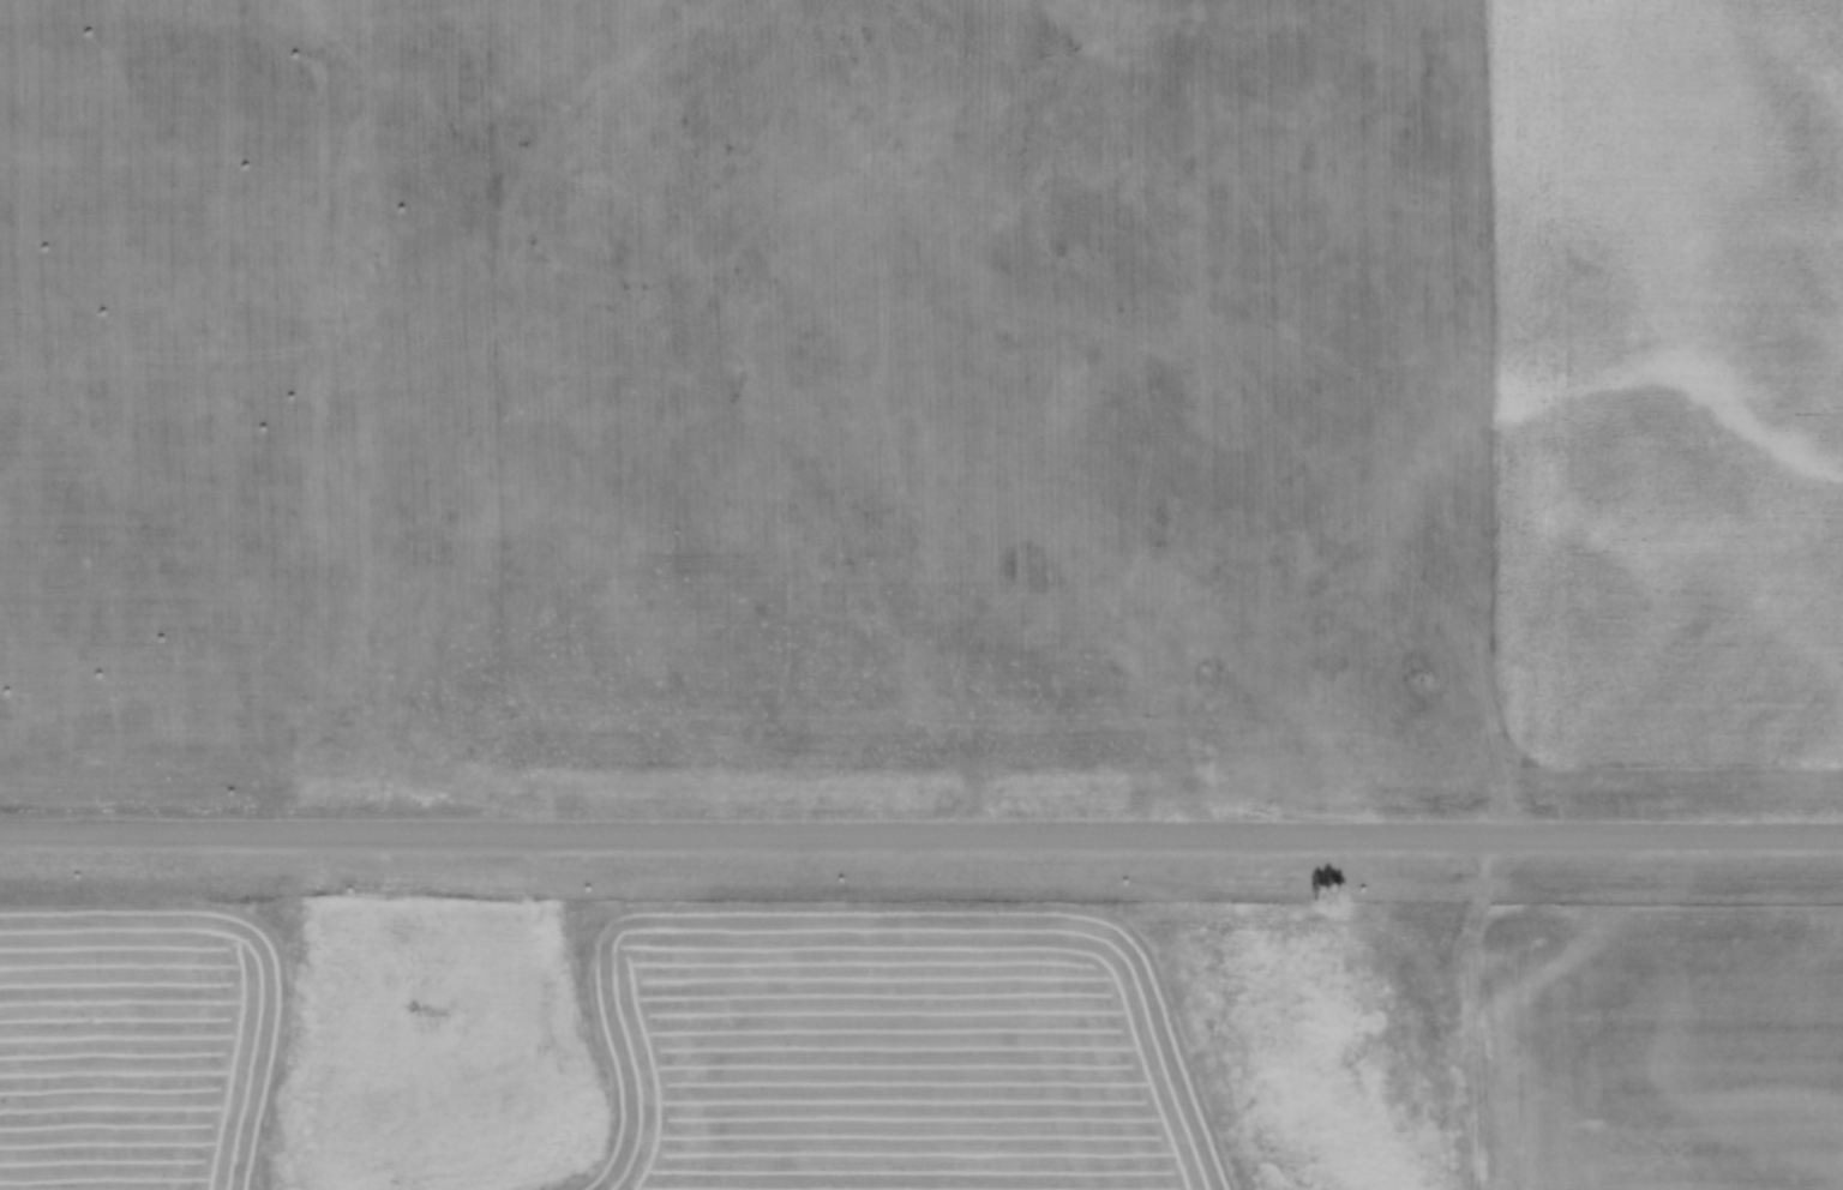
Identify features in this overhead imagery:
road: (1485, 693)
road: (921, 837)
road: (1482, 1014)

